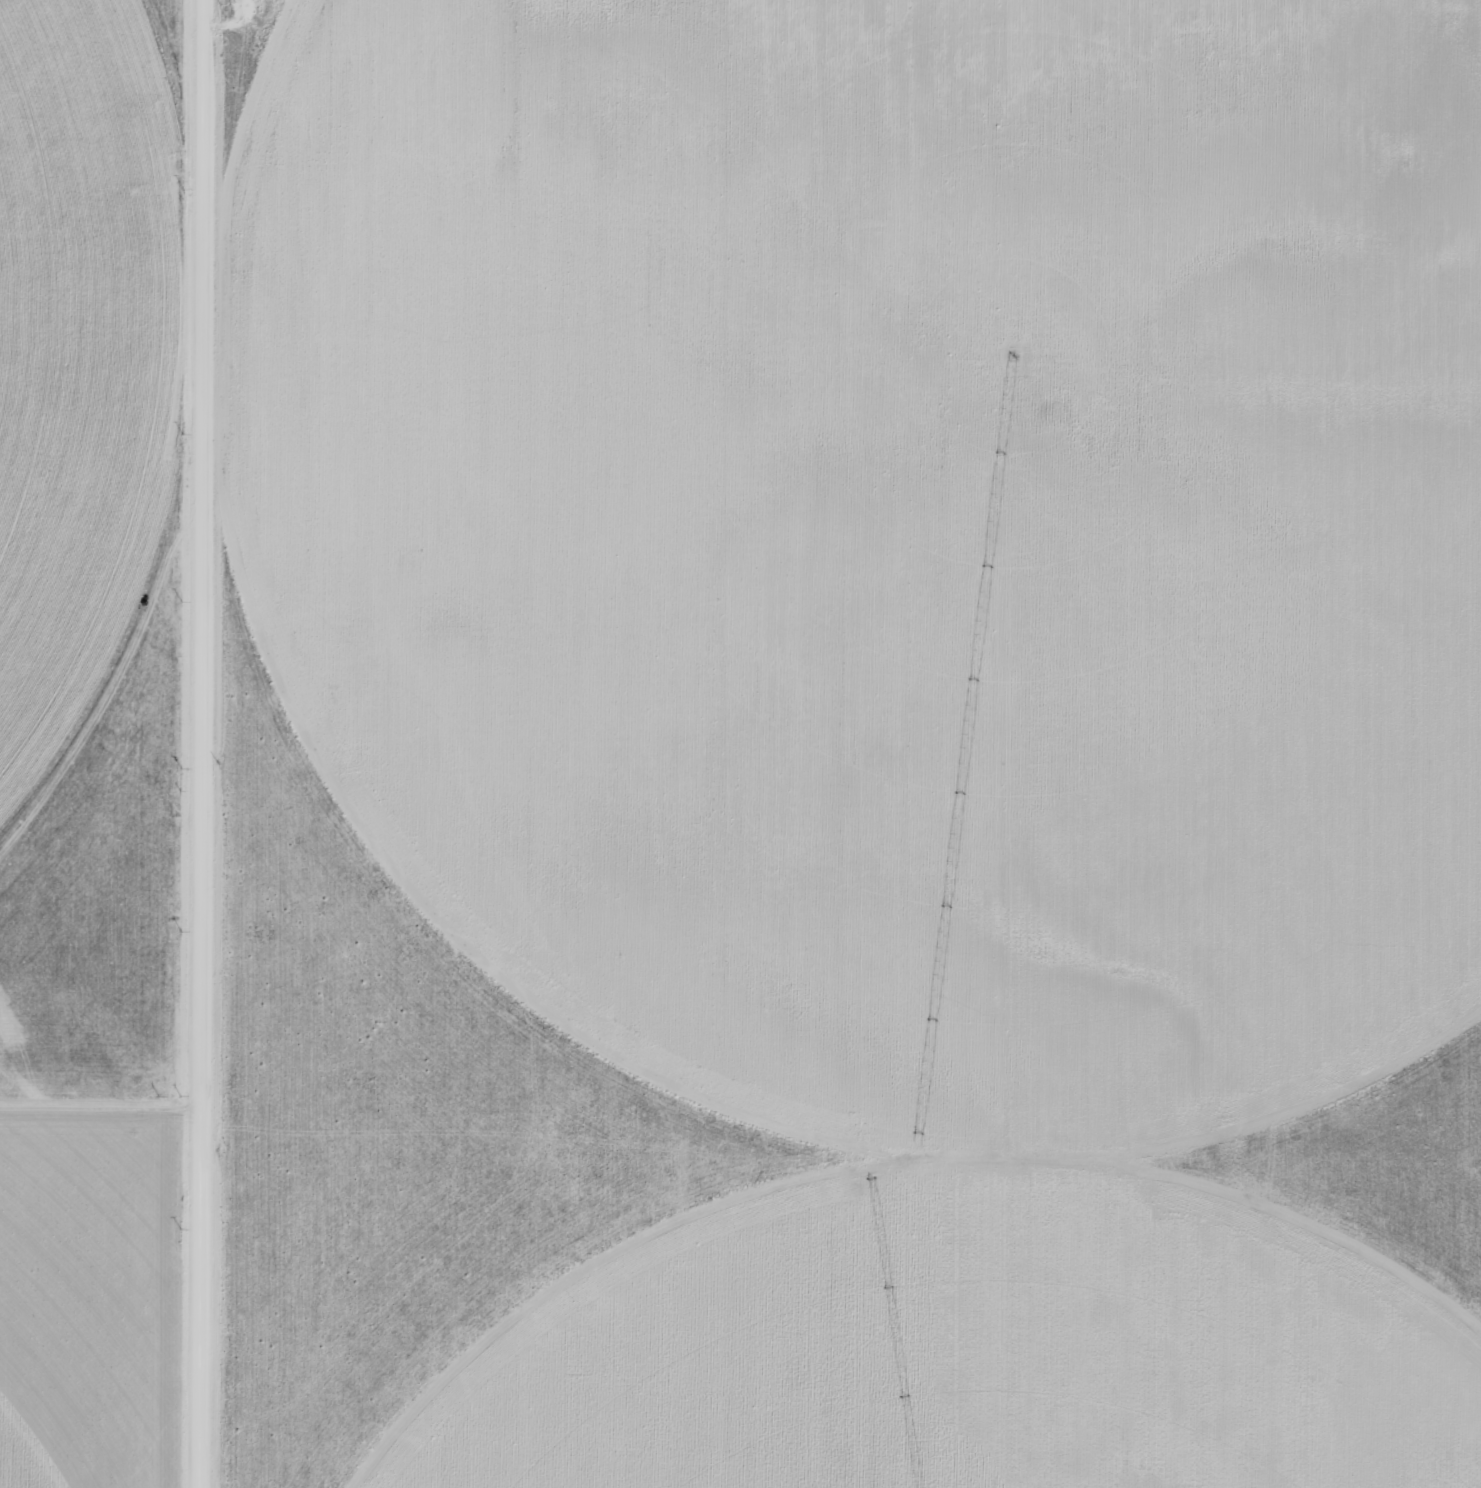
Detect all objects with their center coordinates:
road: (224, 743)

